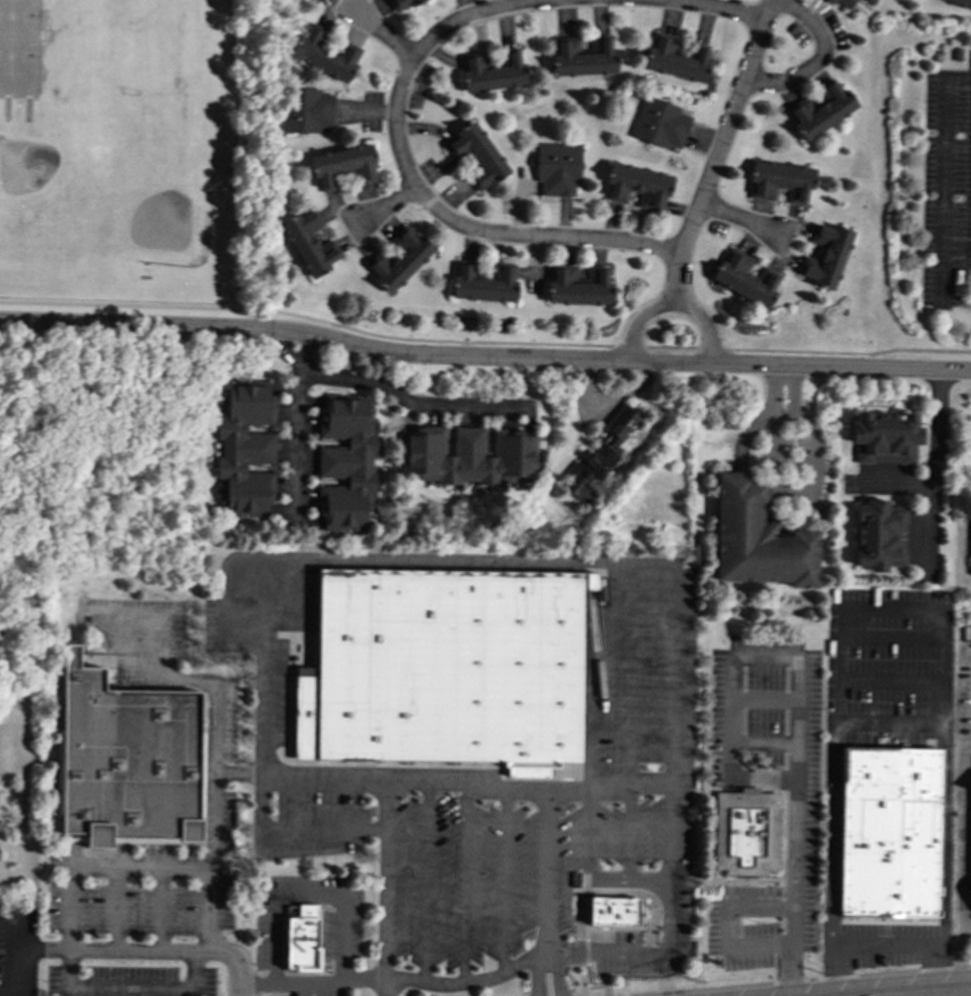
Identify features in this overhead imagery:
building: (313, 1)
building: (961, 2)
building: (402, 3)
building: (842, 3)
road: (704, 7)
road: (380, 34)
road: (423, 47)
building: (325, 54)
building: (583, 57)
building: (675, 59)
road: (820, 60)
building: (492, 71)
building: (820, 109)
building: (305, 110)
building: (659, 124)
road: (717, 151)
building: (476, 156)
road: (943, 162)
building: (342, 166)
building: (557, 168)
building: (779, 181)
building: (637, 185)
parking lot: (946, 187)
road: (387, 205)
road: (738, 220)
road: (541, 238)
building: (309, 243)
building: (825, 256)
building: (399, 258)
road: (941, 276)
building: (744, 278)
building: (483, 282)
building: (578, 286)
road: (165, 306)
road: (87, 322)
road: (638, 322)
road: (183, 324)
road: (701, 325)
road: (649, 347)
road: (580, 358)
road: (292, 359)
road: (784, 388)
road: (407, 401)
building: (884, 437)
road: (294, 438)
road: (937, 445)
building: (244, 447)
building: (599, 455)
building: (466, 456)
building: (345, 462)
road: (800, 491)
building: (878, 535)
building: (756, 538)
road: (265, 575)
road: (227, 605)
road: (894, 609)
road: (141, 620)
road: (672, 625)
parking lot: (137, 634)
road: (893, 639)
road: (796, 656)
road: (150, 662)
parking lot: (886, 666)
building: (445, 668)
road: (892, 682)
parking lot: (964, 691)
road: (763, 697)
road: (891, 725)
road: (763, 742)
building: (126, 762)
parking lot: (637, 768)
road: (237, 774)
road: (630, 784)
road: (511, 790)
road: (628, 832)
building: (746, 832)
building: (889, 833)
road: (831, 834)
road: (944, 834)
road: (590, 835)
parking lot: (801, 837)
road: (965, 842)
road: (212, 849)
parking lot: (162, 858)
road: (546, 874)
road: (425, 880)
road: (629, 880)
road: (464, 881)
road: (503, 882)
road: (386, 887)
road: (612, 893)
road: (307, 896)
road: (115, 909)
road: (160, 910)
building: (612, 911)
road: (729, 926)
parking lot: (341, 933)
road: (952, 939)
building: (298, 943)
parking lot: (885, 943)
road: (883, 945)
road: (69, 947)
road: (106, 949)
parking lot: (18, 951)
road: (789, 951)
road: (16, 953)
road: (606, 953)
road: (557, 974)
road: (537, 975)
road: (394, 978)
parking lot: (128, 980)
road: (806, 980)
road: (934, 993)

